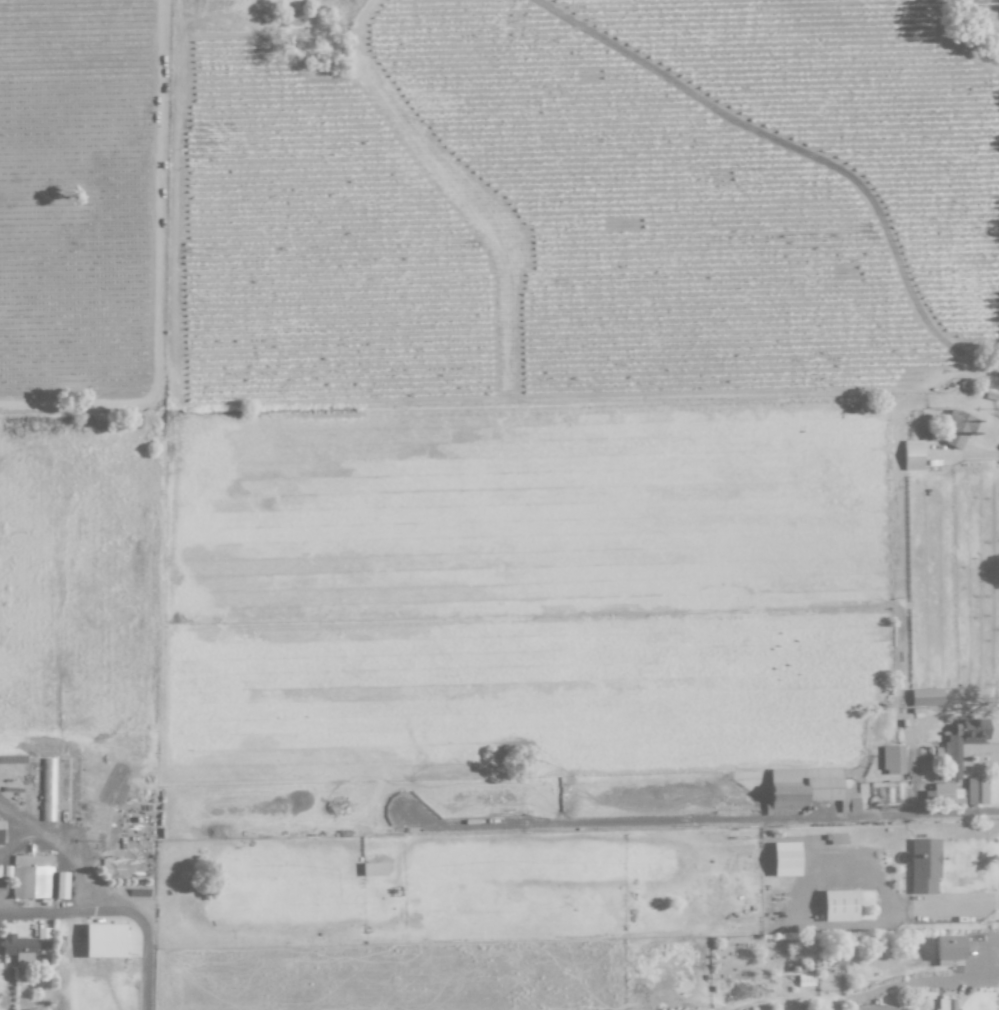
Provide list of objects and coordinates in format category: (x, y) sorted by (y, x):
road: (803, 151)
building: (957, 428)
building: (911, 455)
building: (925, 697)
building: (892, 760)
building: (951, 761)
building: (46, 785)
building: (808, 789)
building: (944, 794)
road: (716, 820)
road: (16, 822)
building: (0, 832)
road: (66, 855)
building: (785, 859)
building: (924, 865)
building: (373, 869)
building: (31, 877)
building: (60, 885)
road: (901, 901)
building: (838, 906)
road: (37, 910)
road: (139, 939)
building: (104, 941)
building: (18, 948)
building: (948, 949)
building: (945, 1004)
building: (872, 1008)

